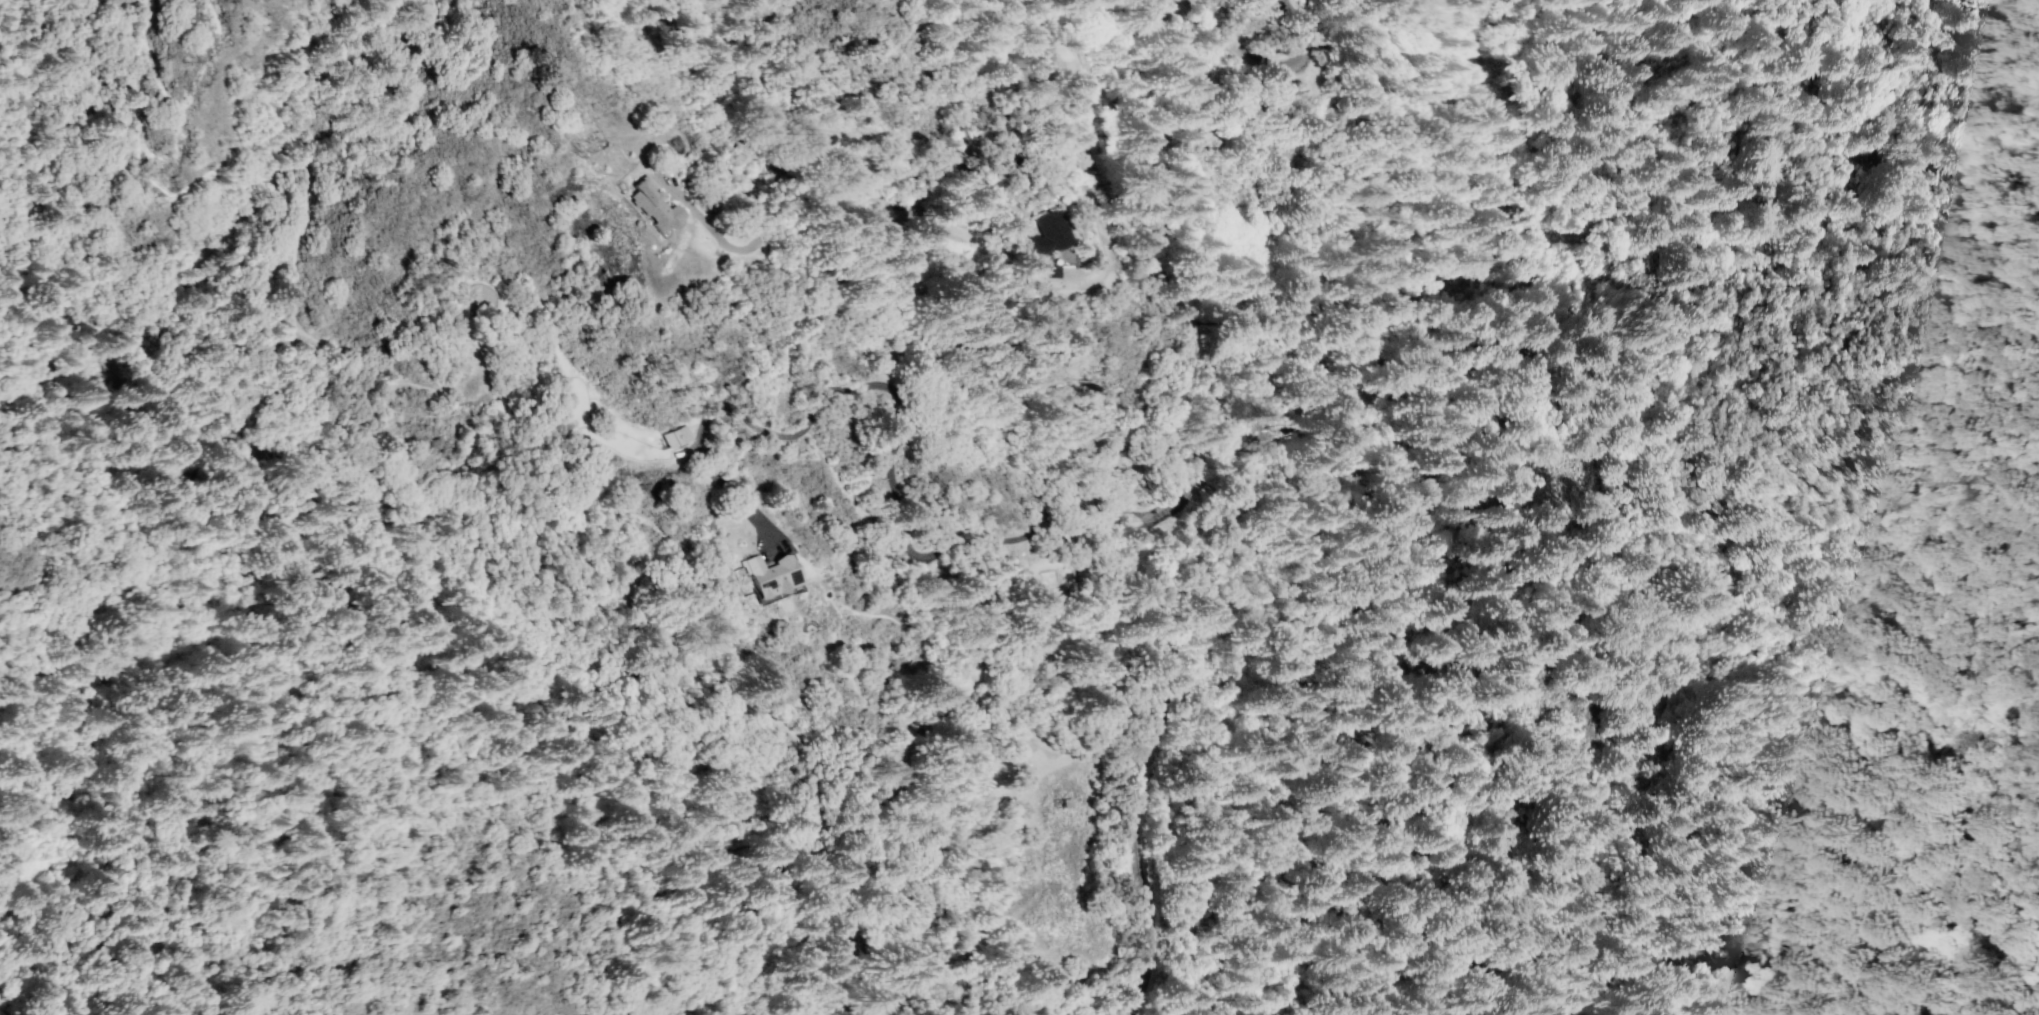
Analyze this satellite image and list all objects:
road: (1059, 9)
road: (1269, 65)
building: (651, 206)
building: (1043, 232)
road: (1100, 245)
building: (1049, 271)
building: (674, 436)
road: (888, 465)
road: (1167, 506)
building: (767, 575)
building: (1064, 804)

